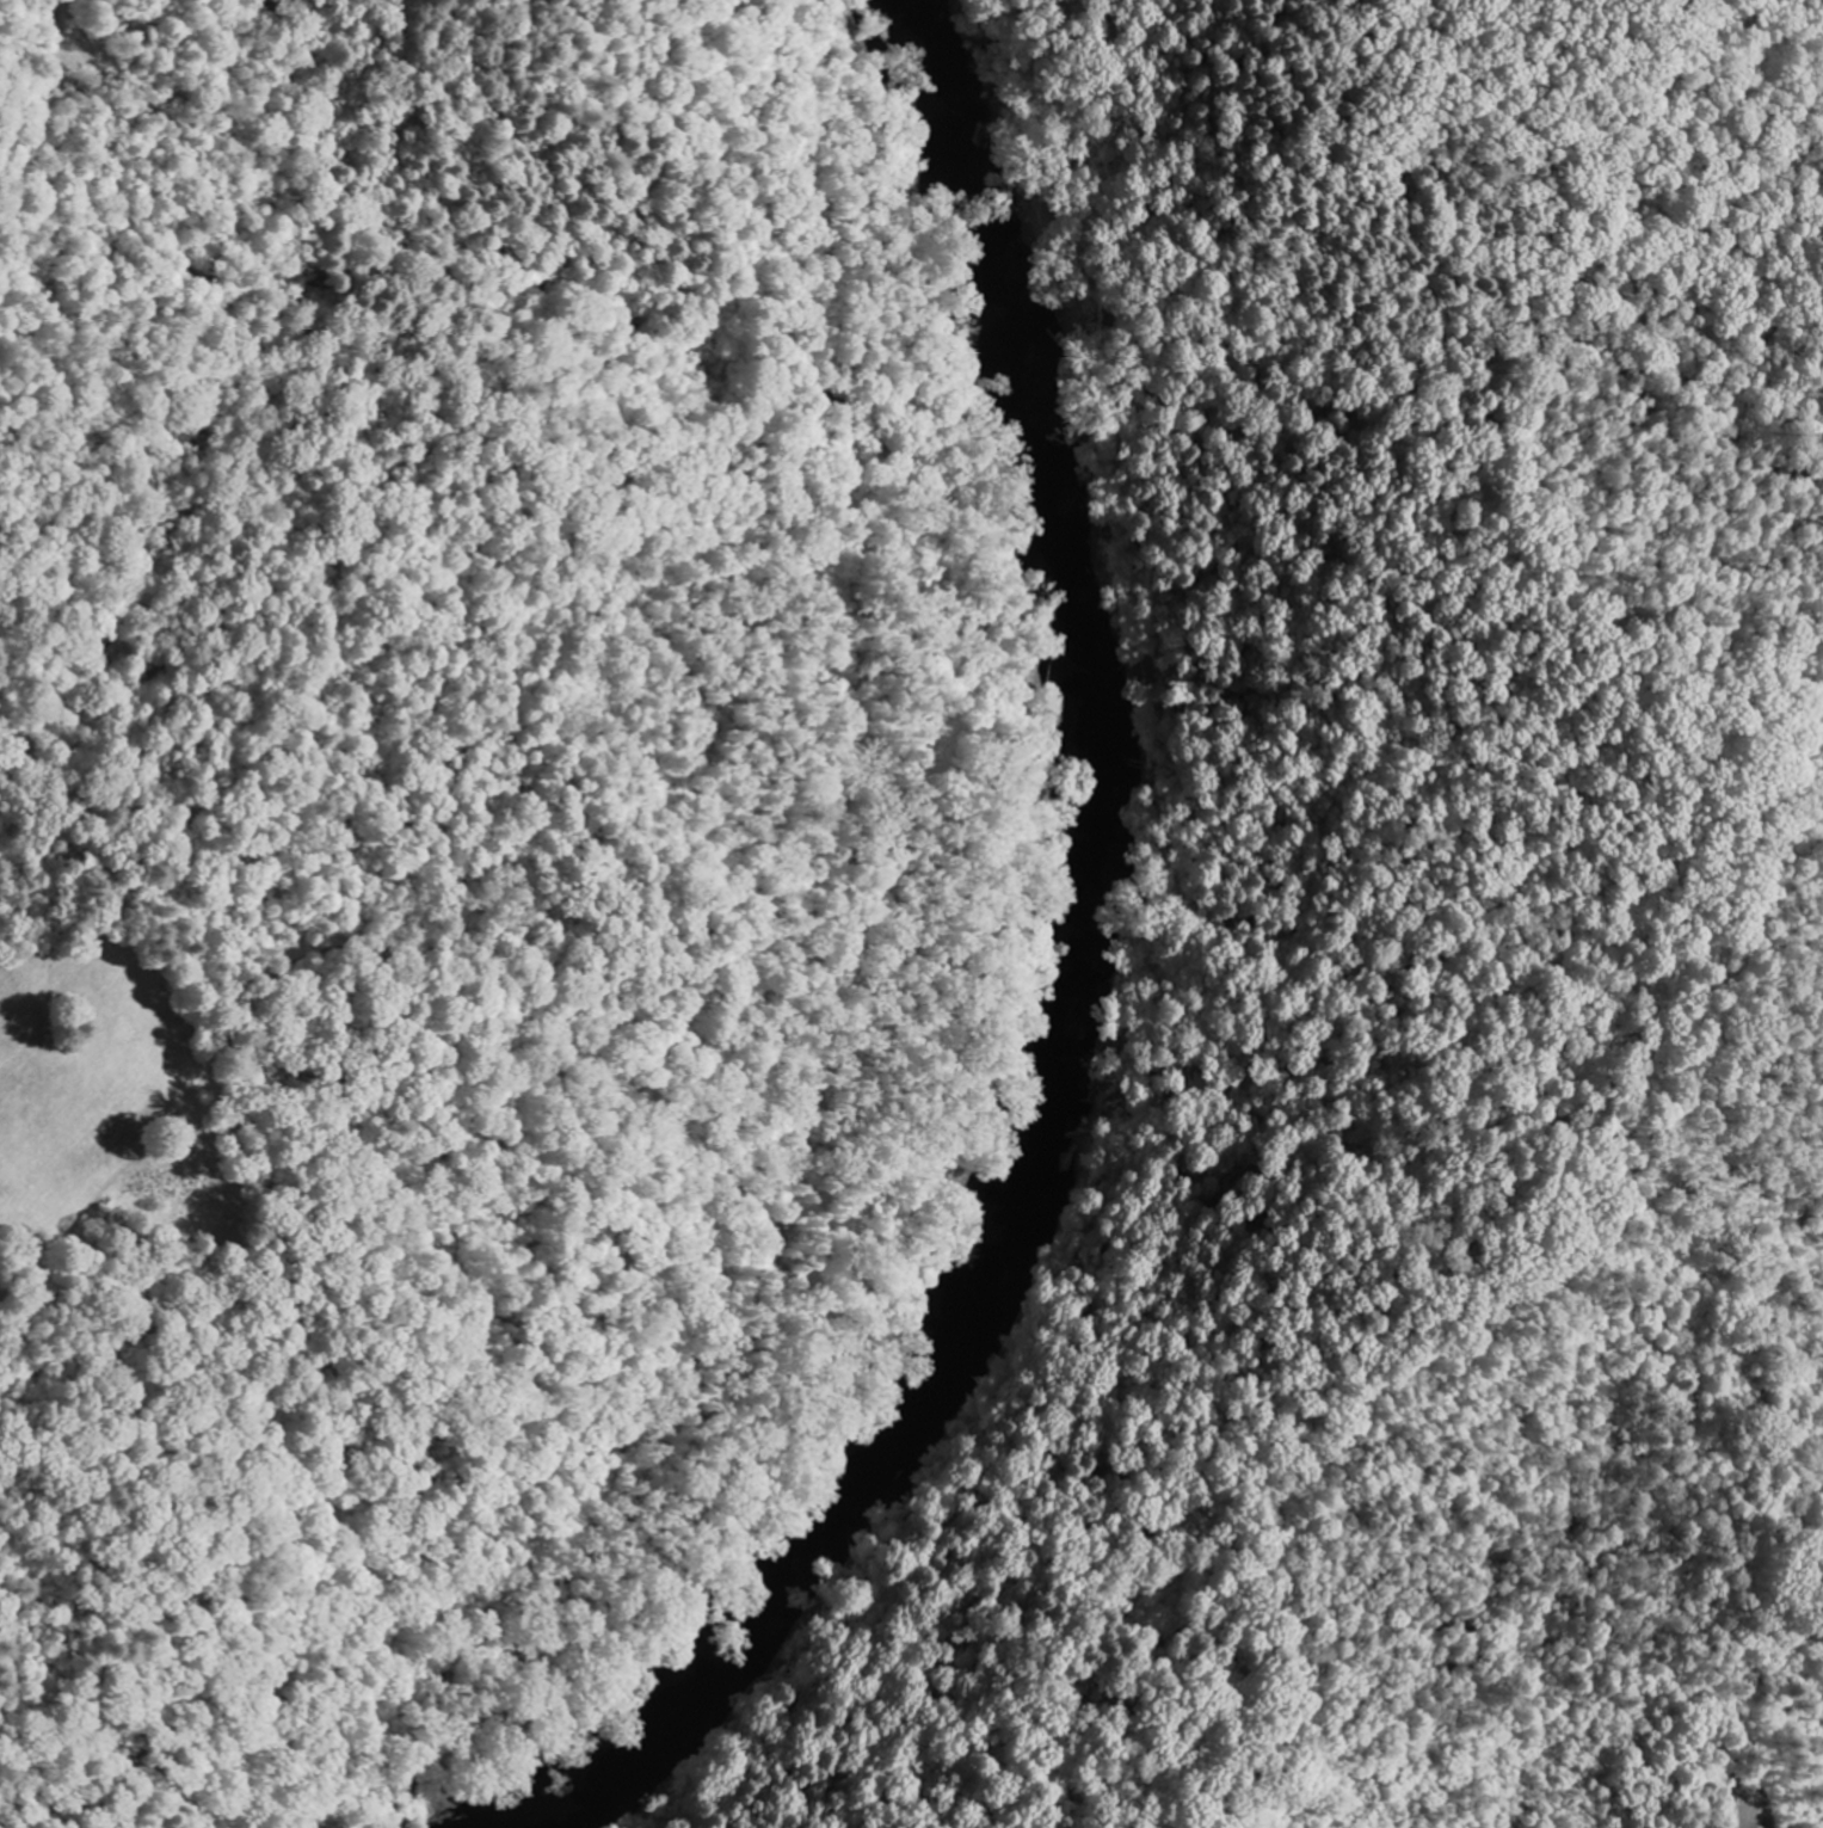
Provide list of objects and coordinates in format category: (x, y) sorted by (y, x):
river: (1066, 996)

